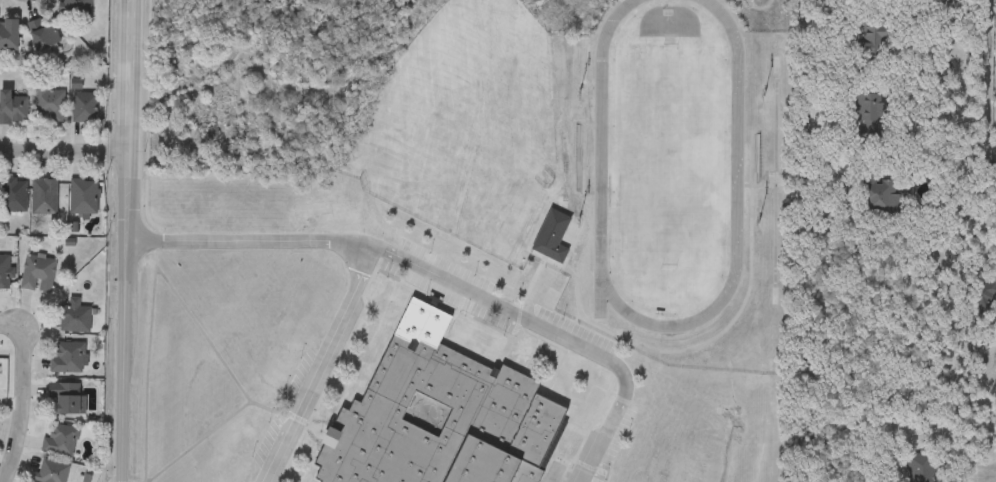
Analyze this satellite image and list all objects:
road: (130, 0)
road: (131, 0)
building: (75, 6)
building: (8, 35)
building: (42, 35)
building: (875, 38)
road: (128, 75)
building: (48, 103)
road: (804, 104)
building: (85, 108)
building: (12, 109)
building: (869, 114)
road: (63, 149)
track: (736, 157)
road: (125, 195)
building: (14, 196)
building: (878, 196)
building: (43, 197)
building: (82, 197)
building: (561, 204)
road: (232, 244)
building: (550, 250)
building: (5, 272)
building: (37, 274)
building: (983, 297)
building: (73, 317)
road: (538, 322)
road: (12, 325)
road: (123, 355)
building: (68, 358)
road: (328, 362)
building: (66, 398)
road: (25, 407)
building: (430, 422)
road: (951, 426)
building: (60, 440)
building: (921, 467)
building: (51, 472)
road: (122, 475)

